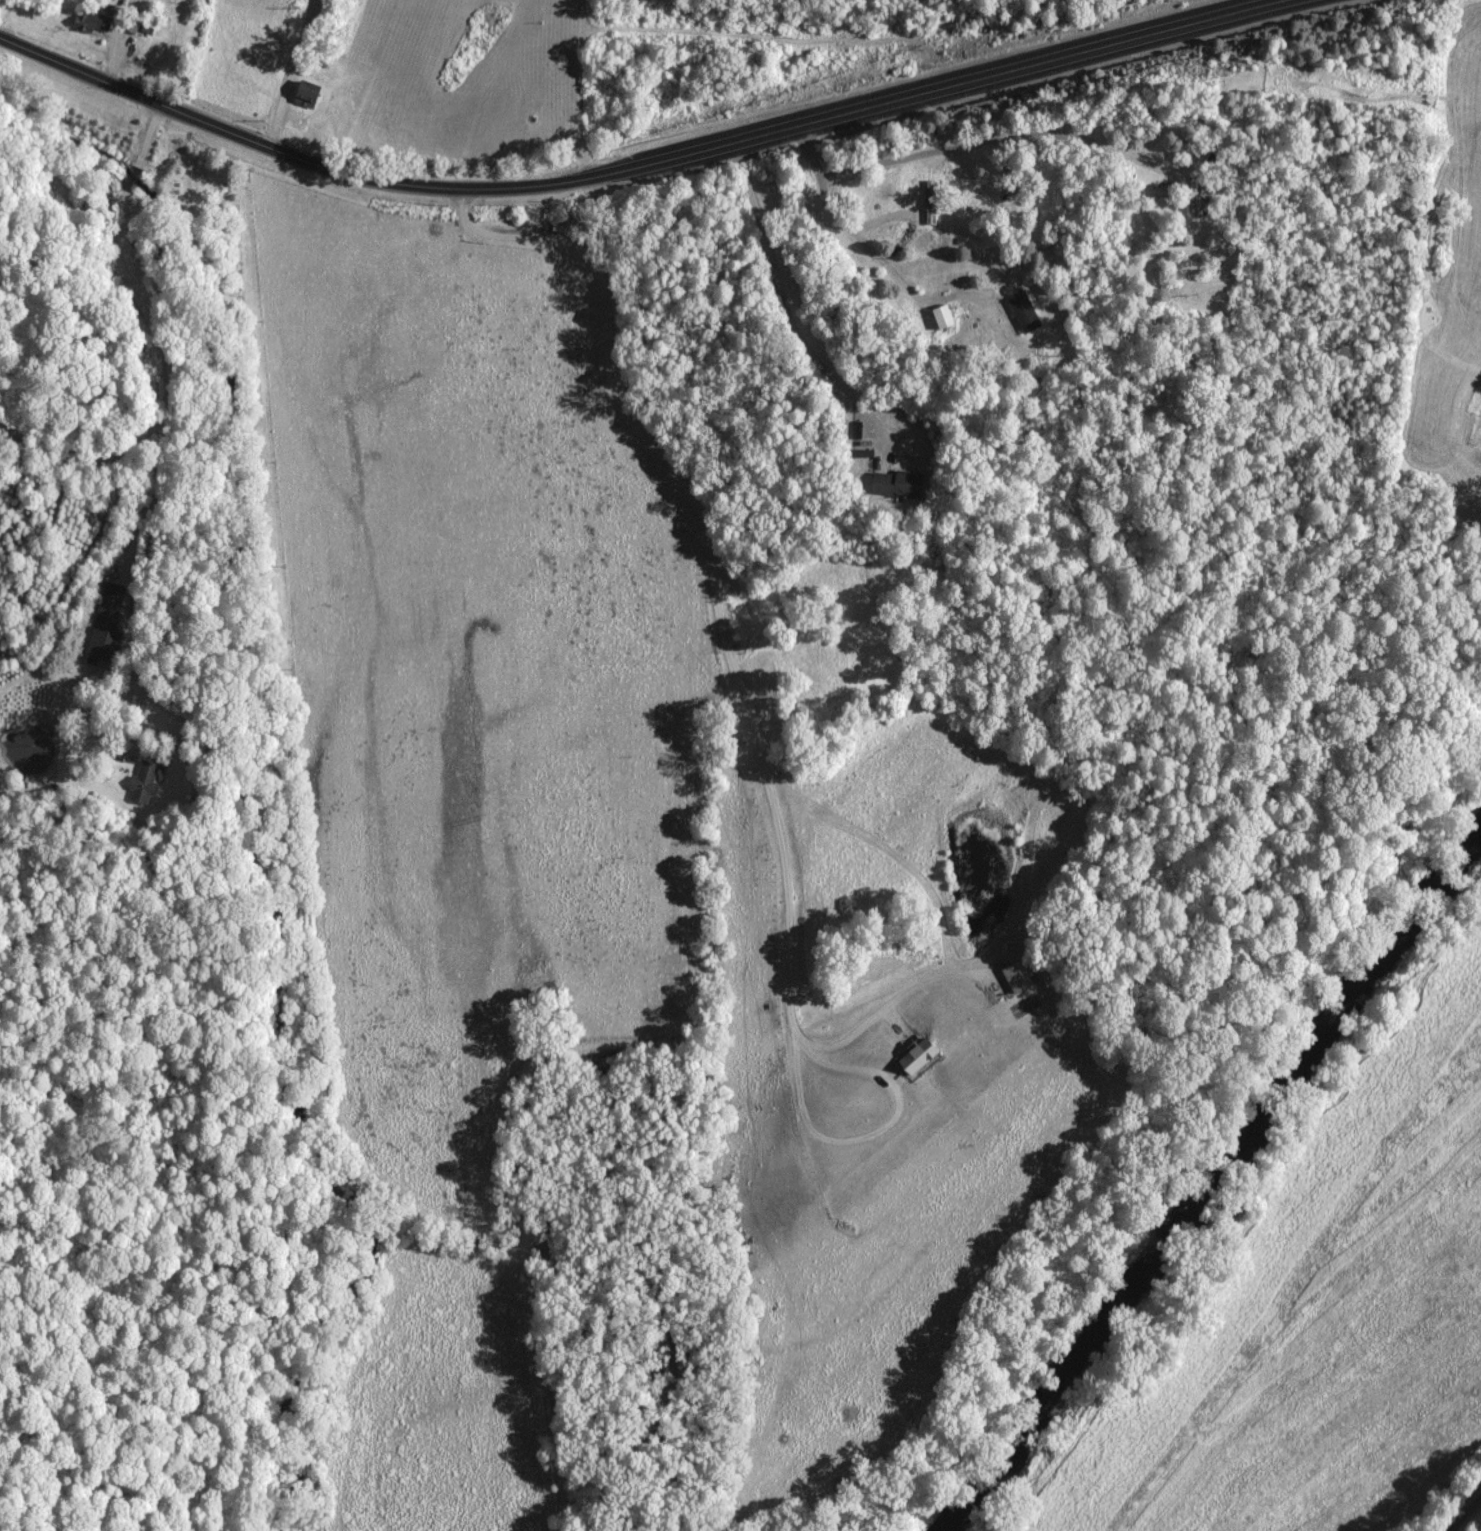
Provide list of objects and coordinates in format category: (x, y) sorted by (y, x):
building: (90, 21)
road: (288, 73)
building: (302, 93)
road: (623, 167)
building: (1166, 189)
building: (928, 208)
building: (1021, 312)
building: (891, 484)
building: (104, 625)
building: (140, 781)
road: (1471, 1523)

